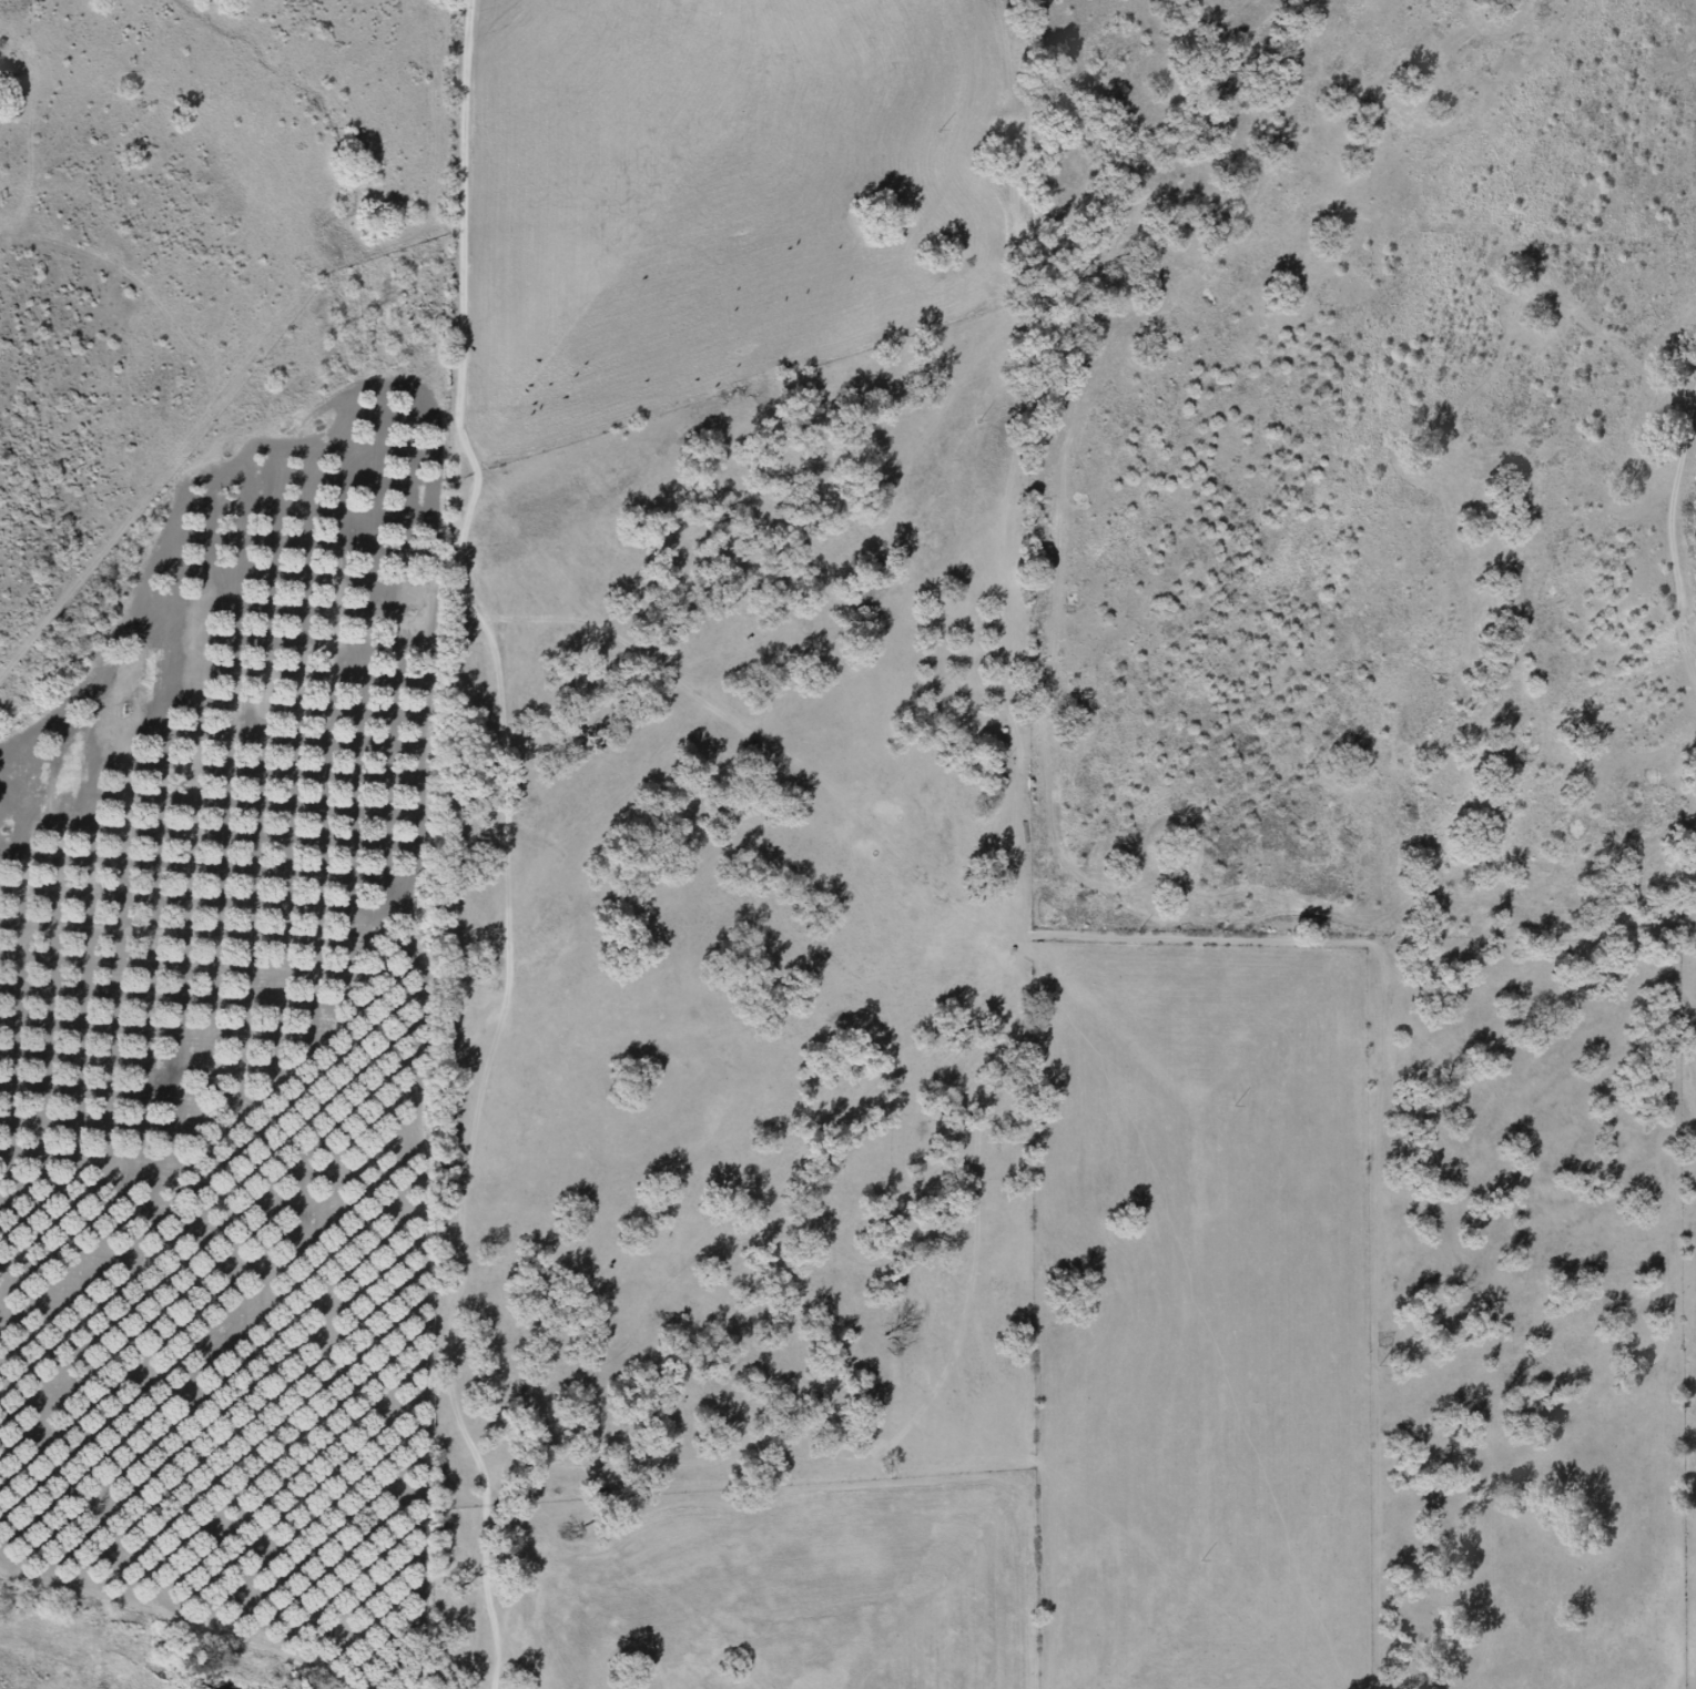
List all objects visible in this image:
road: (1614, 192)

